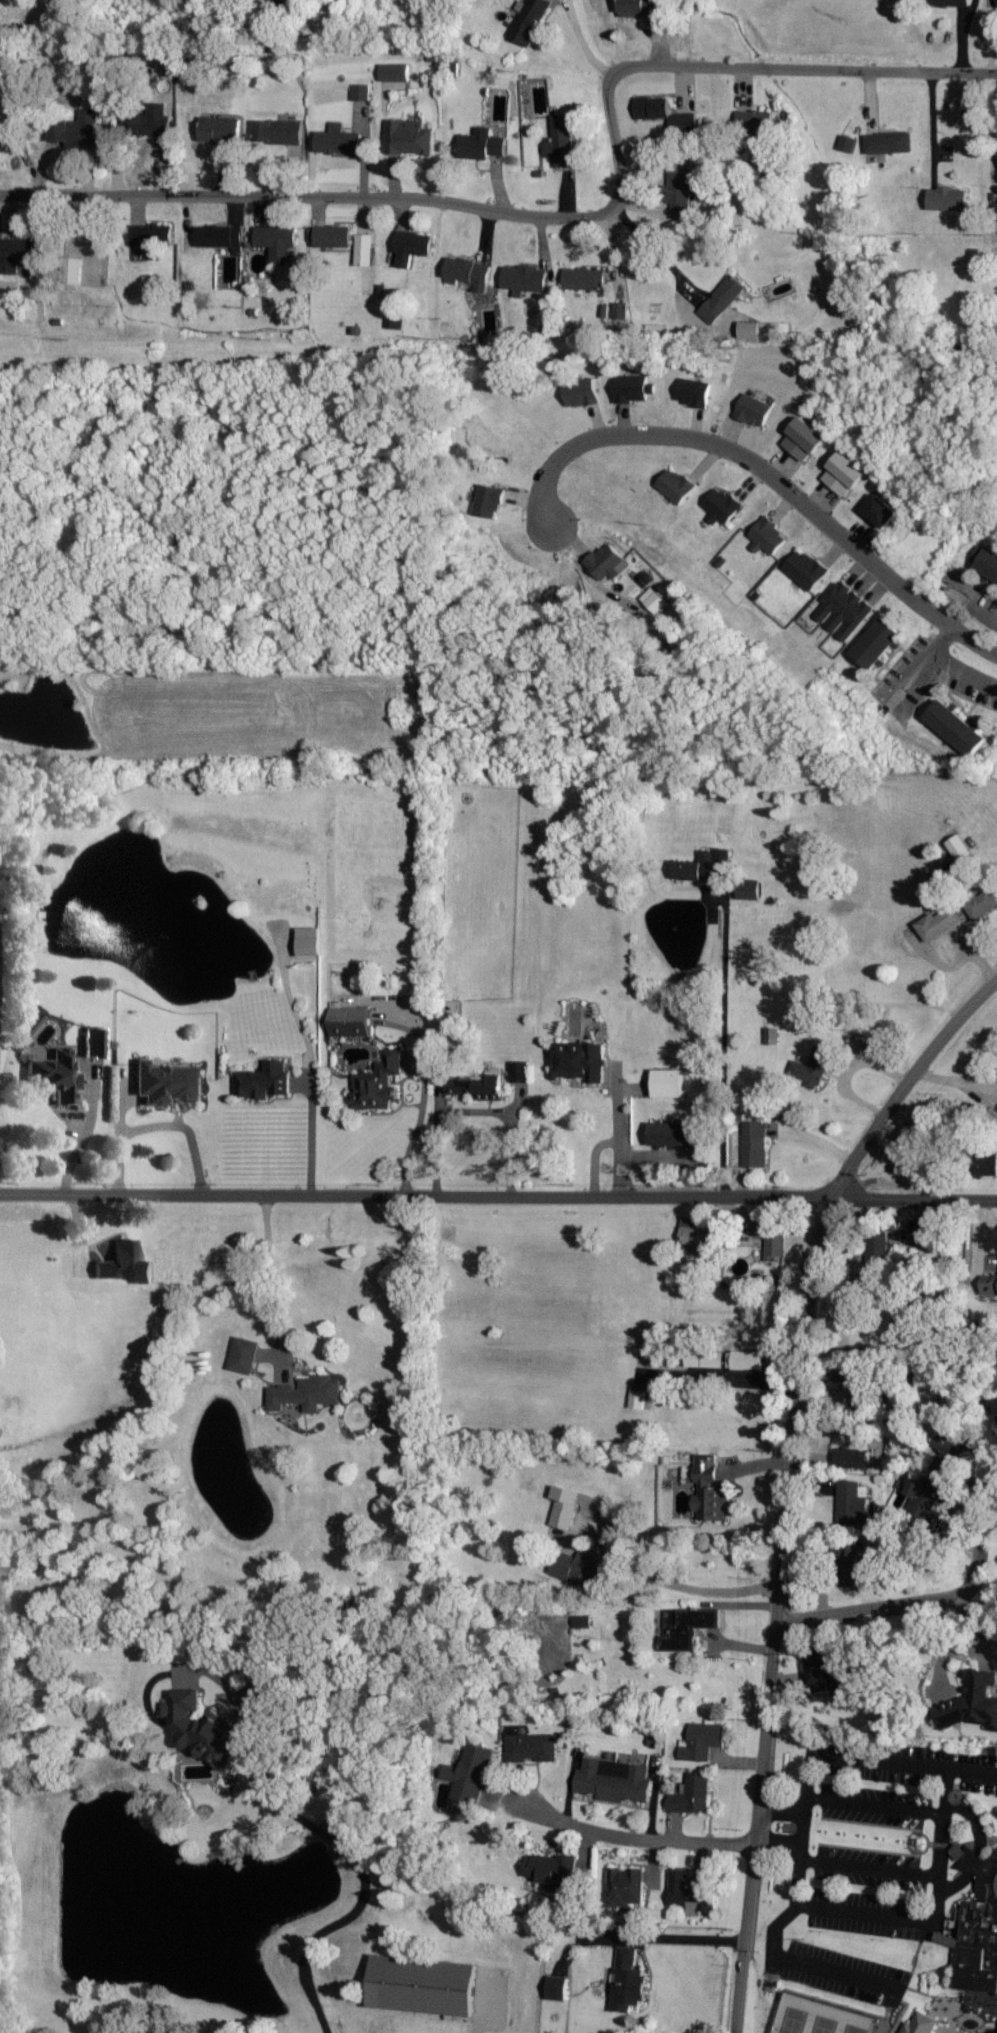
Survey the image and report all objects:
building: (949, 3)
building: (639, 9)
building: (530, 21)
road: (964, 34)
road: (584, 42)
building: (395, 72)
building: (361, 92)
building: (676, 116)
building: (151, 121)
building: (755, 121)
building: (19, 125)
road: (934, 126)
building: (220, 129)
building: (77, 131)
building: (278, 132)
building: (409, 138)
building: (338, 140)
building: (561, 141)
building: (889, 143)
building: (848, 144)
building: (481, 145)
building: (681, 195)
building: (948, 199)
road: (570, 217)
building: (333, 236)
building: (151, 237)
building: (221, 237)
building: (277, 241)
building: (412, 247)
building: (365, 250)
road: (659, 252)
building: (15, 253)
building: (73, 271)
building: (469, 273)
building: (585, 279)
building: (524, 280)
building: (723, 299)
building: (621, 310)
building: (766, 331)
building: (634, 387)
building: (694, 391)
building: (581, 392)
building: (754, 409)
building: (804, 438)
road: (766, 470)
building: (844, 473)
building: (676, 484)
building: (490, 500)
building: (722, 504)
building: (881, 510)
building: (768, 536)
building: (988, 562)
building: (608, 563)
building: (807, 569)
building: (655, 599)
building: (845, 609)
building: (956, 726)
building: (703, 865)
building: (749, 889)
building: (982, 904)
building: (939, 923)
building: (309, 941)
road: (0, 1014)
building: (349, 1021)
building: (32, 1024)
building: (95, 1042)
road: (722, 1047)
building: (581, 1061)
road: (313, 1066)
building: (813, 1067)
building: (519, 1071)
building: (56, 1075)
building: (264, 1080)
building: (167, 1083)
building: (378, 1083)
building: (668, 1083)
building: (481, 1086)
road: (162, 1125)
road: (419, 1126)
building: (672, 1134)
road: (79, 1138)
road: (622, 1140)
building: (755, 1143)
road: (594, 1158)
building: (985, 1163)
road: (498, 1196)
building: (691, 1231)
building: (773, 1239)
building: (125, 1264)
road: (274, 1280)
building: (989, 1286)
building: (244, 1355)
building: (691, 1359)
building: (719, 1359)
building: (747, 1360)
building: (307, 1393)
building: (638, 1399)
building: (836, 1399)
building: (948, 1455)
building: (850, 1457)
road: (790, 1477)
building: (852, 1501)
building: (925, 1502)
building: (565, 1507)
building: (853, 1563)
building: (581, 1566)
road: (683, 1587)
road: (931, 1600)
building: (584, 1621)
building: (687, 1627)
building: (823, 1668)
building: (972, 1702)
building: (201, 1728)
building: (703, 1741)
building: (532, 1747)
building: (471, 1774)
building: (615, 1781)
road: (944, 1781)
building: (693, 1794)
road: (871, 1804)
road: (780, 1807)
road: (797, 1821)
road: (325, 1833)
road: (634, 1837)
road: (776, 1843)
road: (866, 1867)
building: (551, 1868)
park: (879, 1883)
building: (627, 1887)
building: (690, 1895)
road: (857, 1911)
parking lot: (909, 1920)
building: (978, 1925)
road: (669, 1937)
road: (800, 1962)
building: (628, 1982)
building: (422, 1986)
building: (557, 1988)
road: (485, 2016)
park: (816, 2017)
building: (920, 2024)

